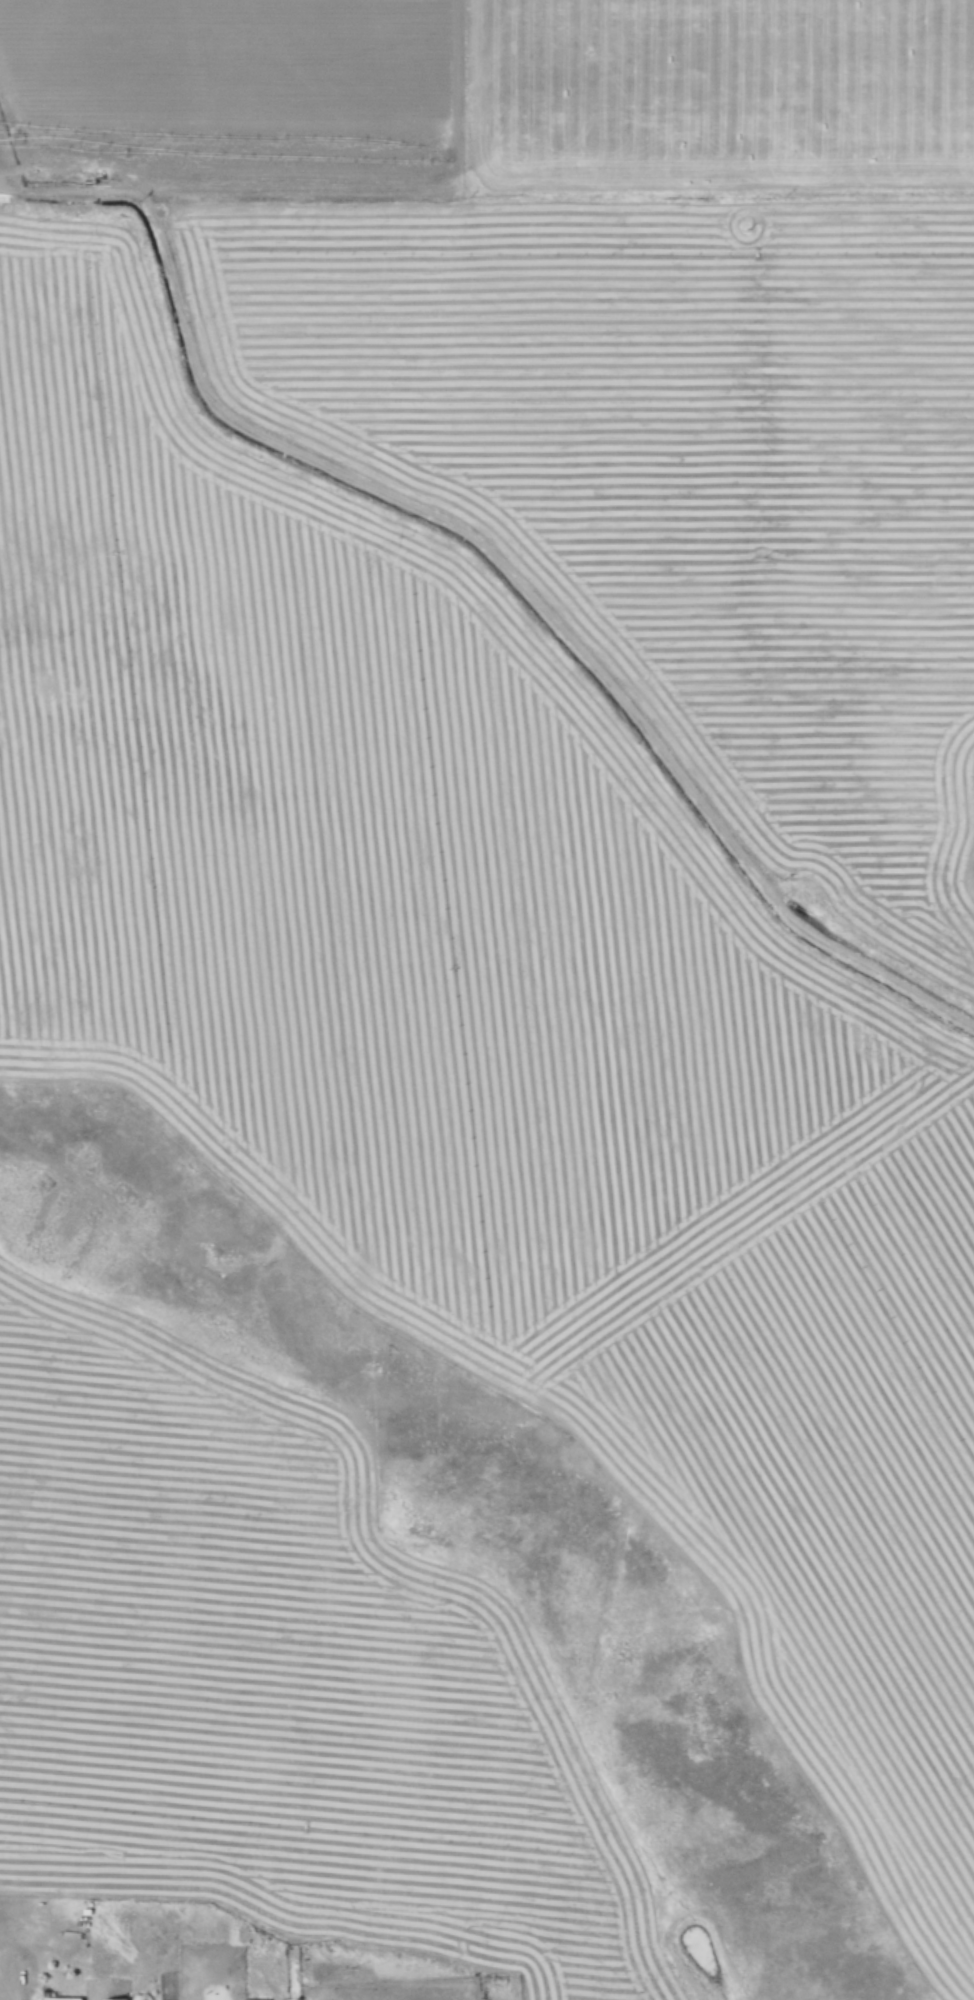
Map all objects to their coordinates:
crop: (487, 999)
building: (57, 1998)
building: (114, 1999)

